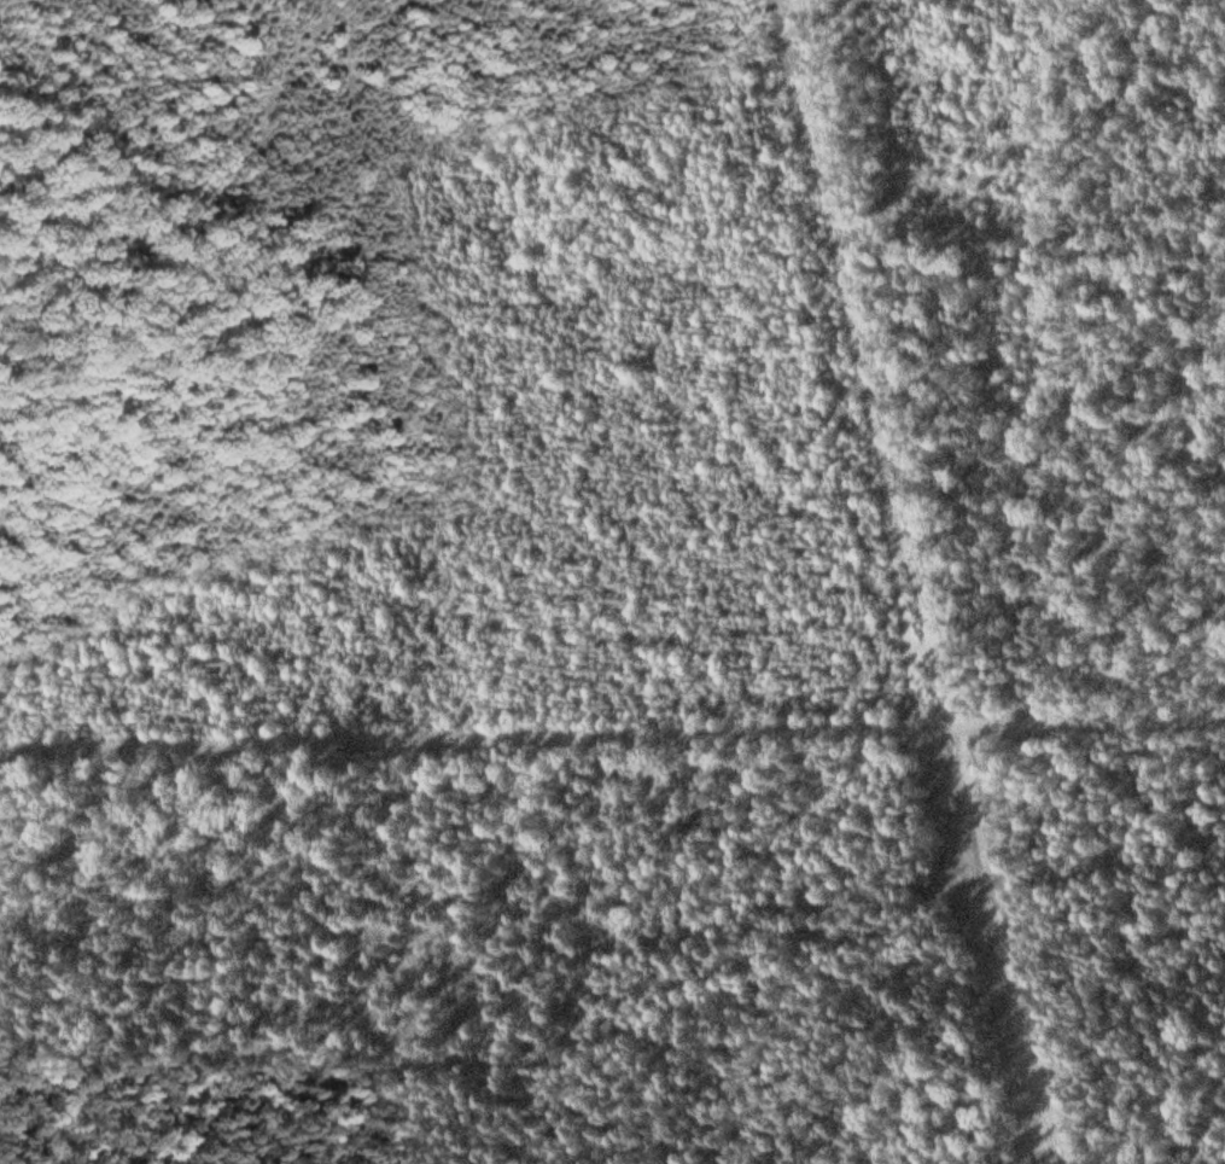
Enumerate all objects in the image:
road: (917, 582)
road: (612, 733)
road: (692, 1001)

